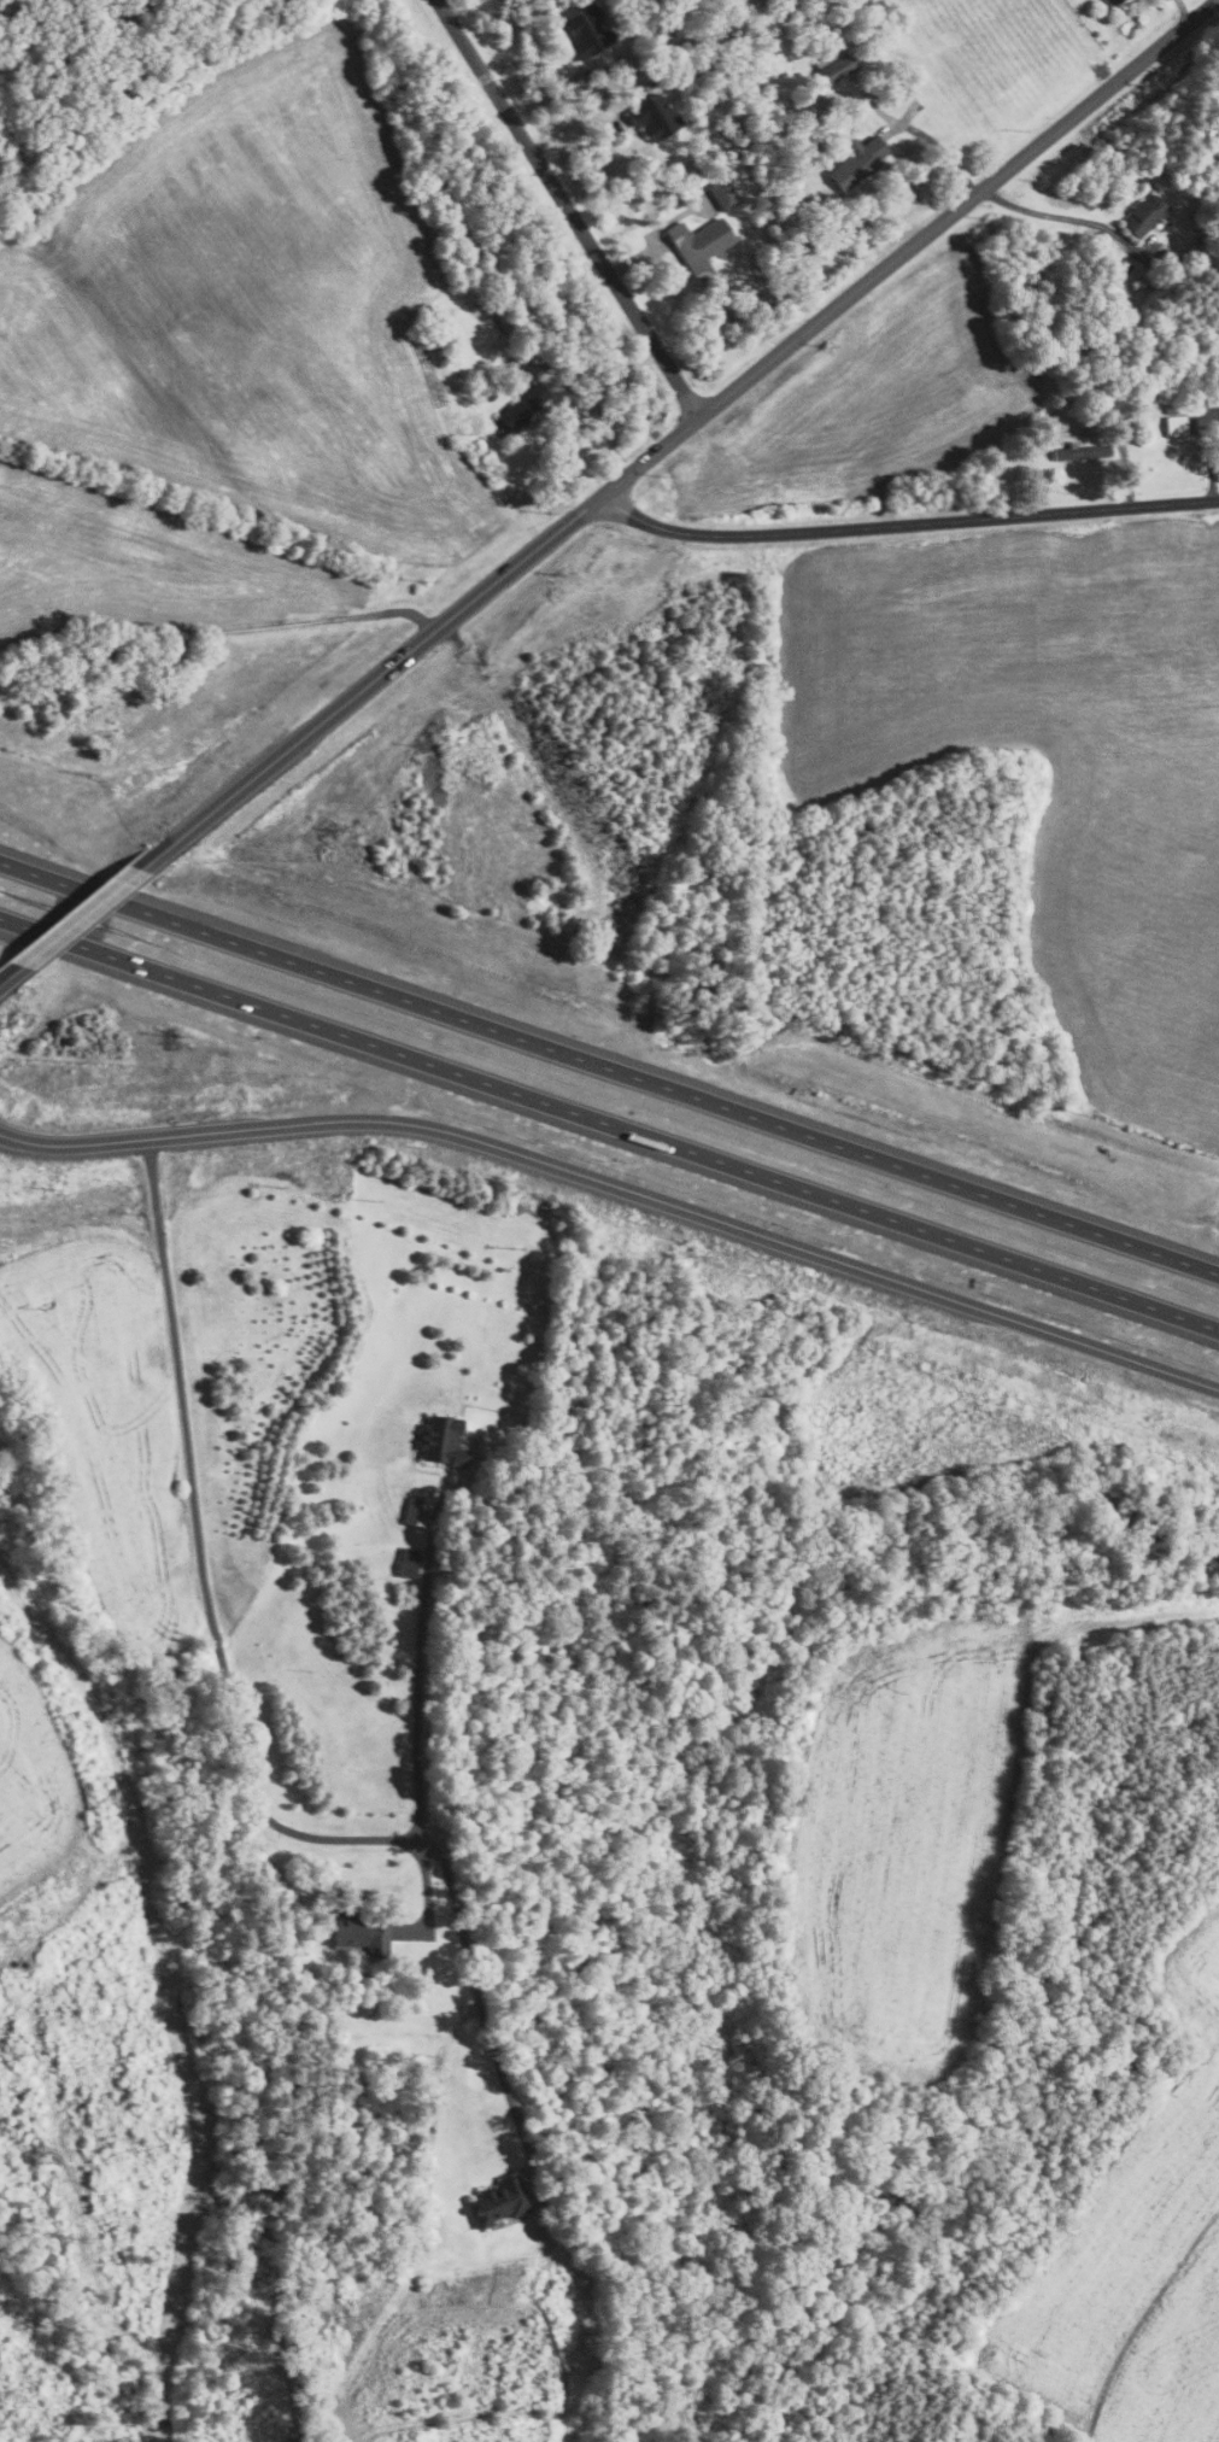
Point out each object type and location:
building: (1112, 2)
road: (1182, 8)
road: (459, 10)
building: (586, 31)
building: (833, 65)
road: (550, 92)
building: (654, 117)
road: (575, 122)
road: (939, 148)
building: (856, 162)
building: (723, 193)
road: (565, 206)
road: (1044, 212)
building: (1144, 216)
building: (699, 246)
road: (634, 257)
crop: (247, 308)
building: (506, 327)
building: (446, 334)
building: (1211, 396)
building: (524, 405)
building: (1171, 409)
road: (603, 417)
building: (1176, 426)
road: (667, 438)
building: (1083, 453)
road: (1123, 455)
road: (1212, 465)
road: (904, 521)
crop: (137, 564)
road: (216, 631)
crop: (1045, 762)
road: (77, 913)
road: (16, 962)
road: (609, 1064)
road: (609, 1119)
road: (620, 1182)
building: (443, 1441)
road: (206, 1559)
building: (409, 1563)
road: (417, 1663)
crop: (901, 1827)
building: (361, 1931)
road: (476, 1985)
building: (499, 2202)

